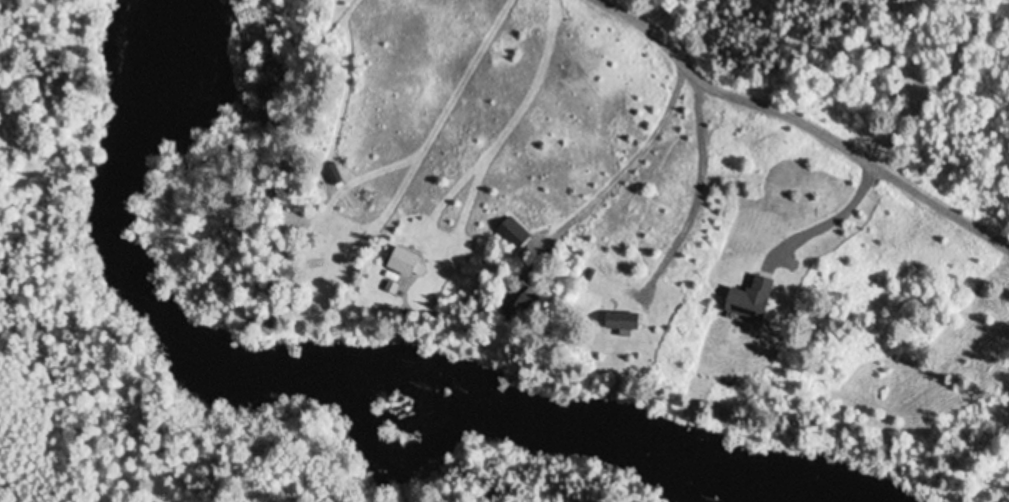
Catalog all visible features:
road: (803, 119)
building: (284, 201)
building: (402, 263)
building: (749, 304)
building: (622, 323)
river: (316, 380)

